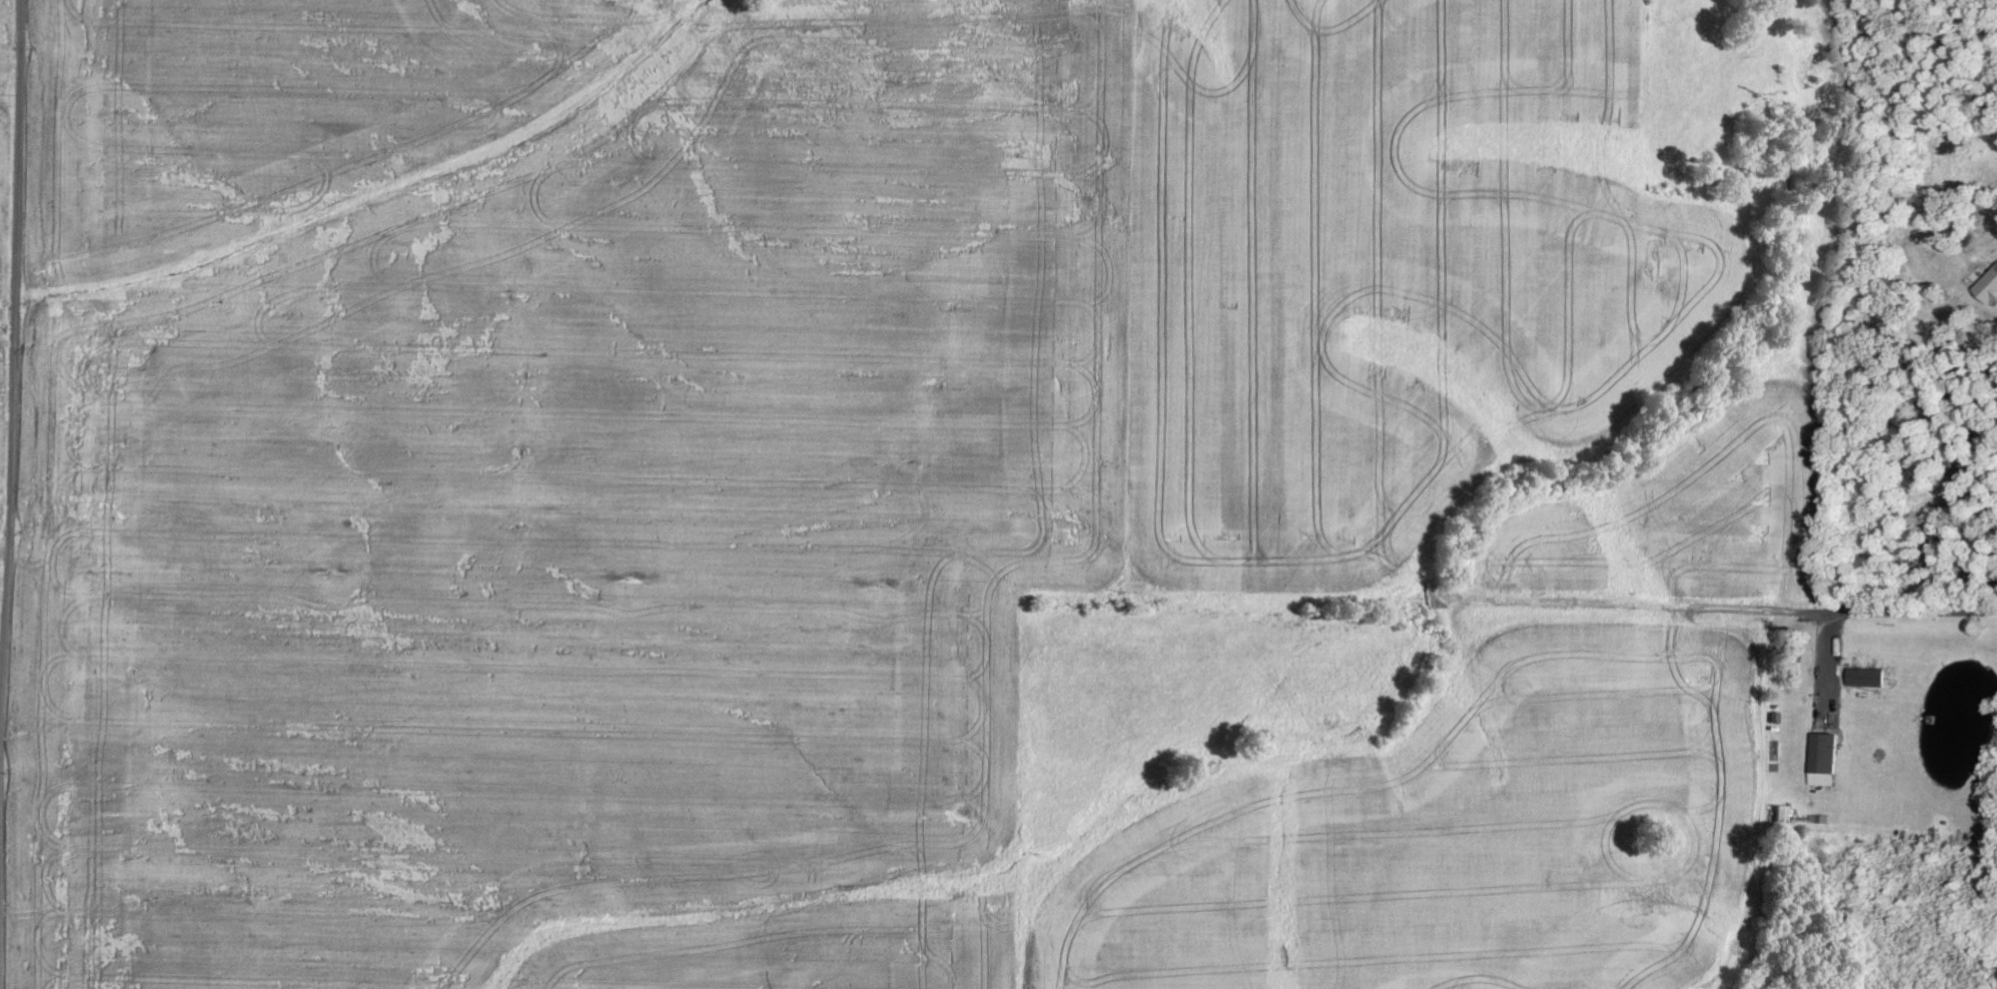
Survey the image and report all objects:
building: (1989, 288)
road: (13, 494)
road: (1907, 603)
building: (1870, 677)
building: (1826, 759)
building: (1782, 813)

